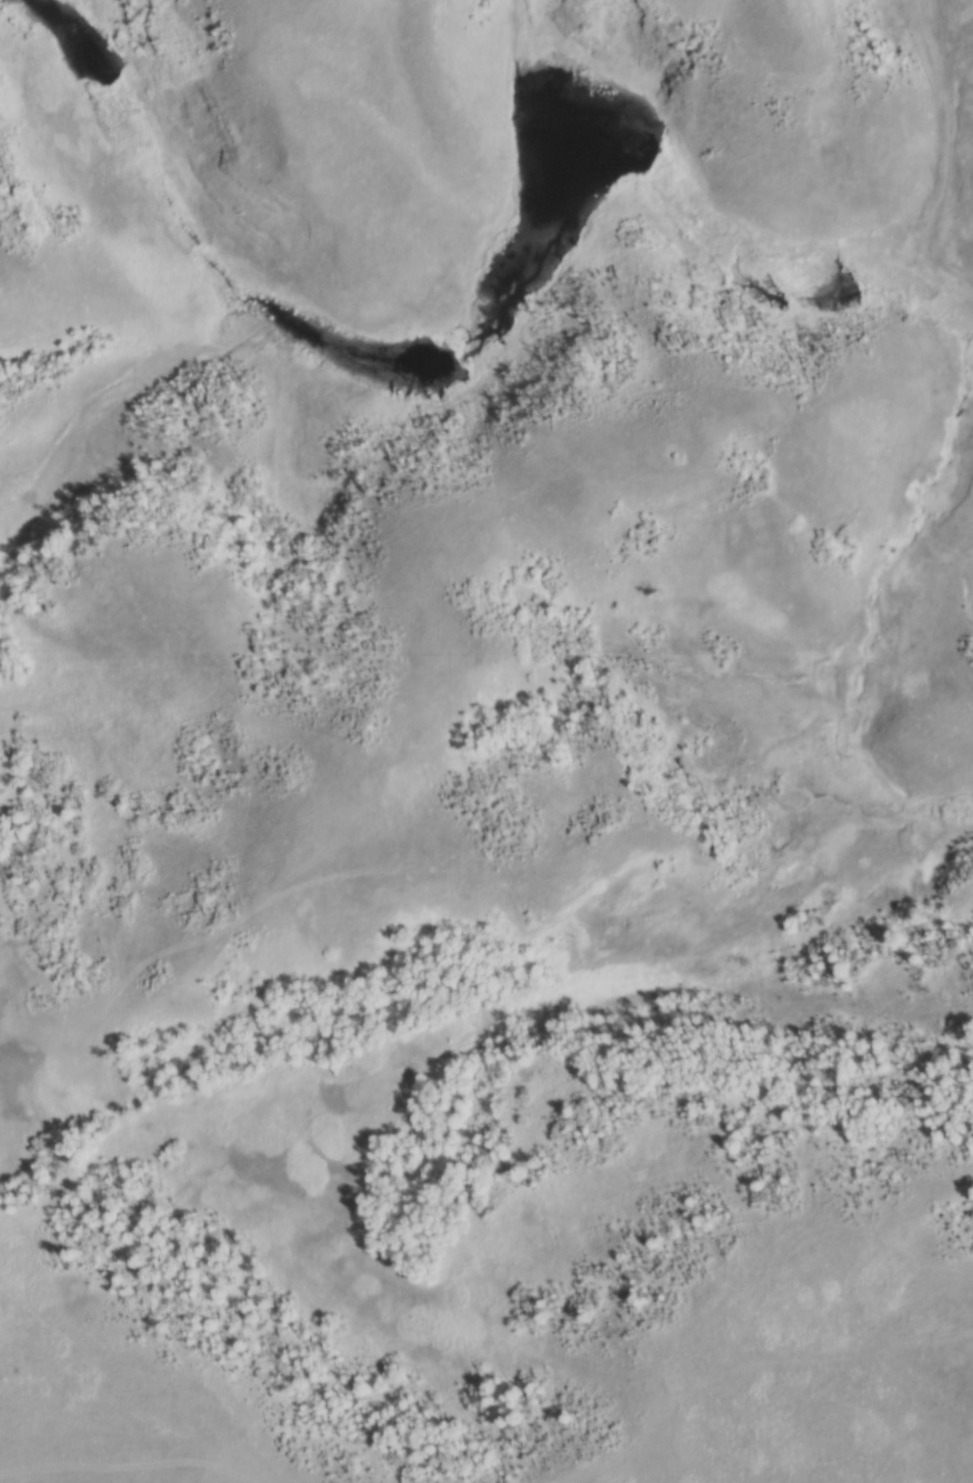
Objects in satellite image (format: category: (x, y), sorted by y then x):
road: (126, 1474)

